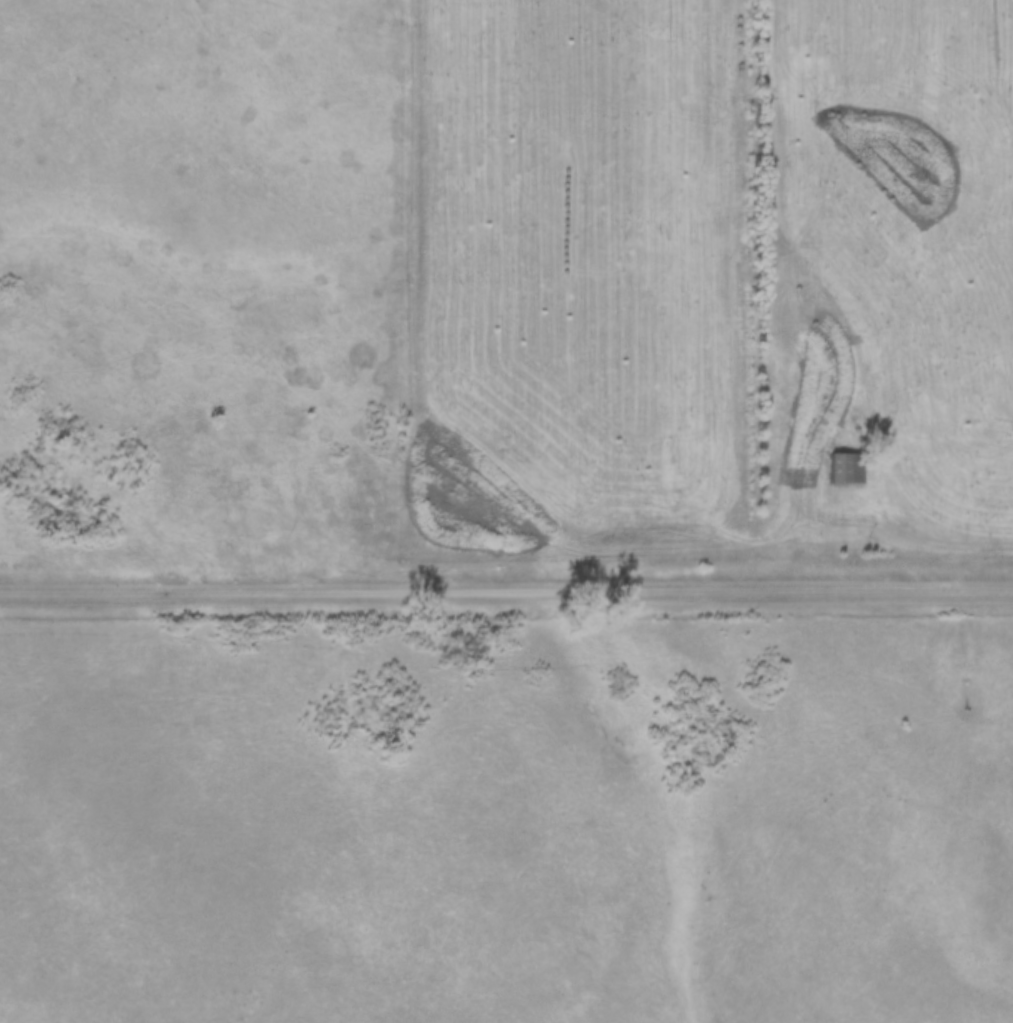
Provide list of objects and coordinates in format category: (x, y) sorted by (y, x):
road: (321, 348)
building: (847, 468)
road: (934, 530)
road: (506, 589)

